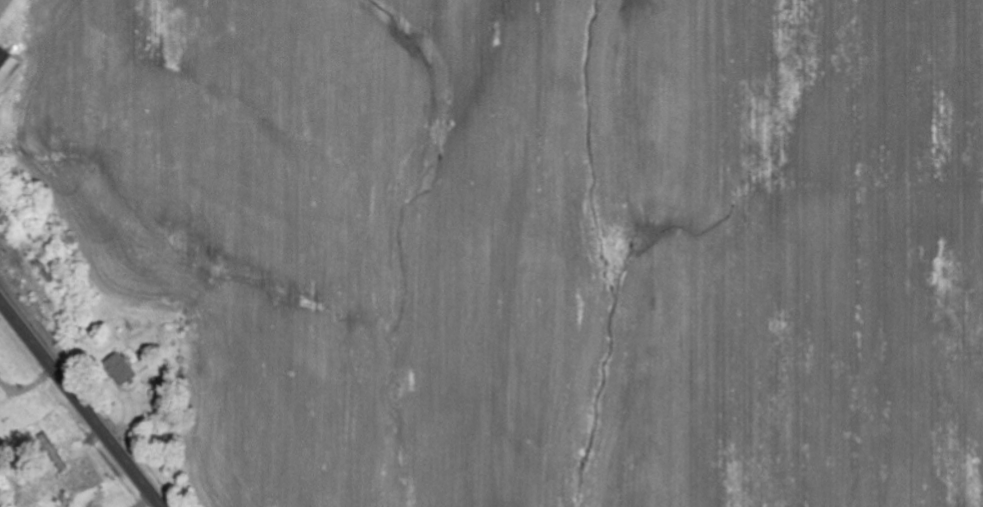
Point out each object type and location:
building: (6, 9)
building: (8, 70)
building: (3, 187)
building: (121, 369)
road: (82, 401)

